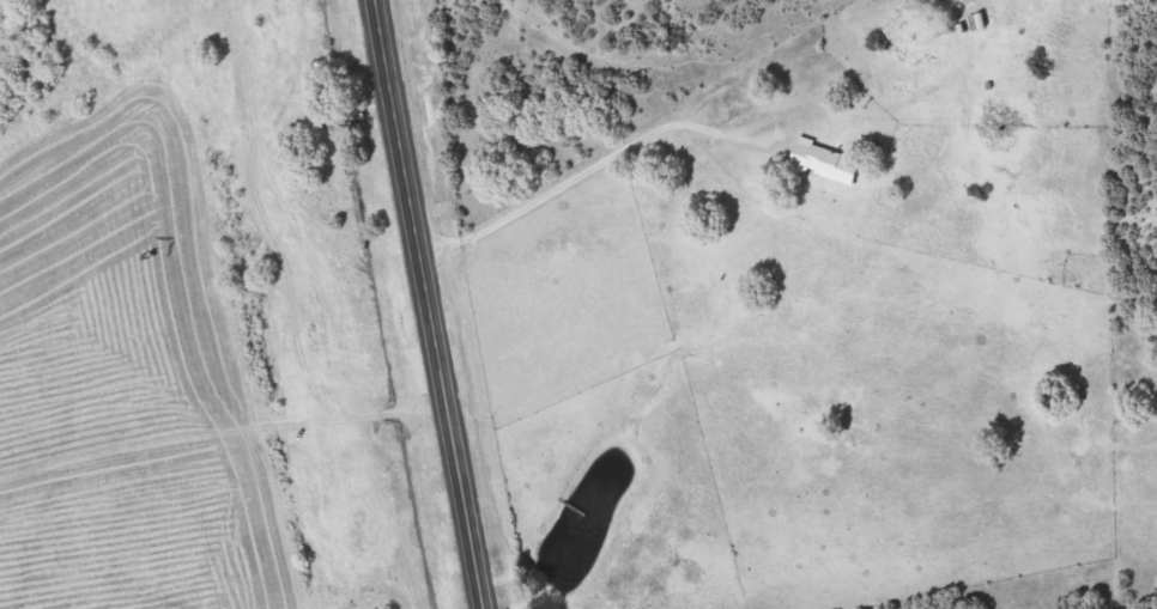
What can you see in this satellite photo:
building: (820, 159)
road: (247, 288)
road: (438, 304)

